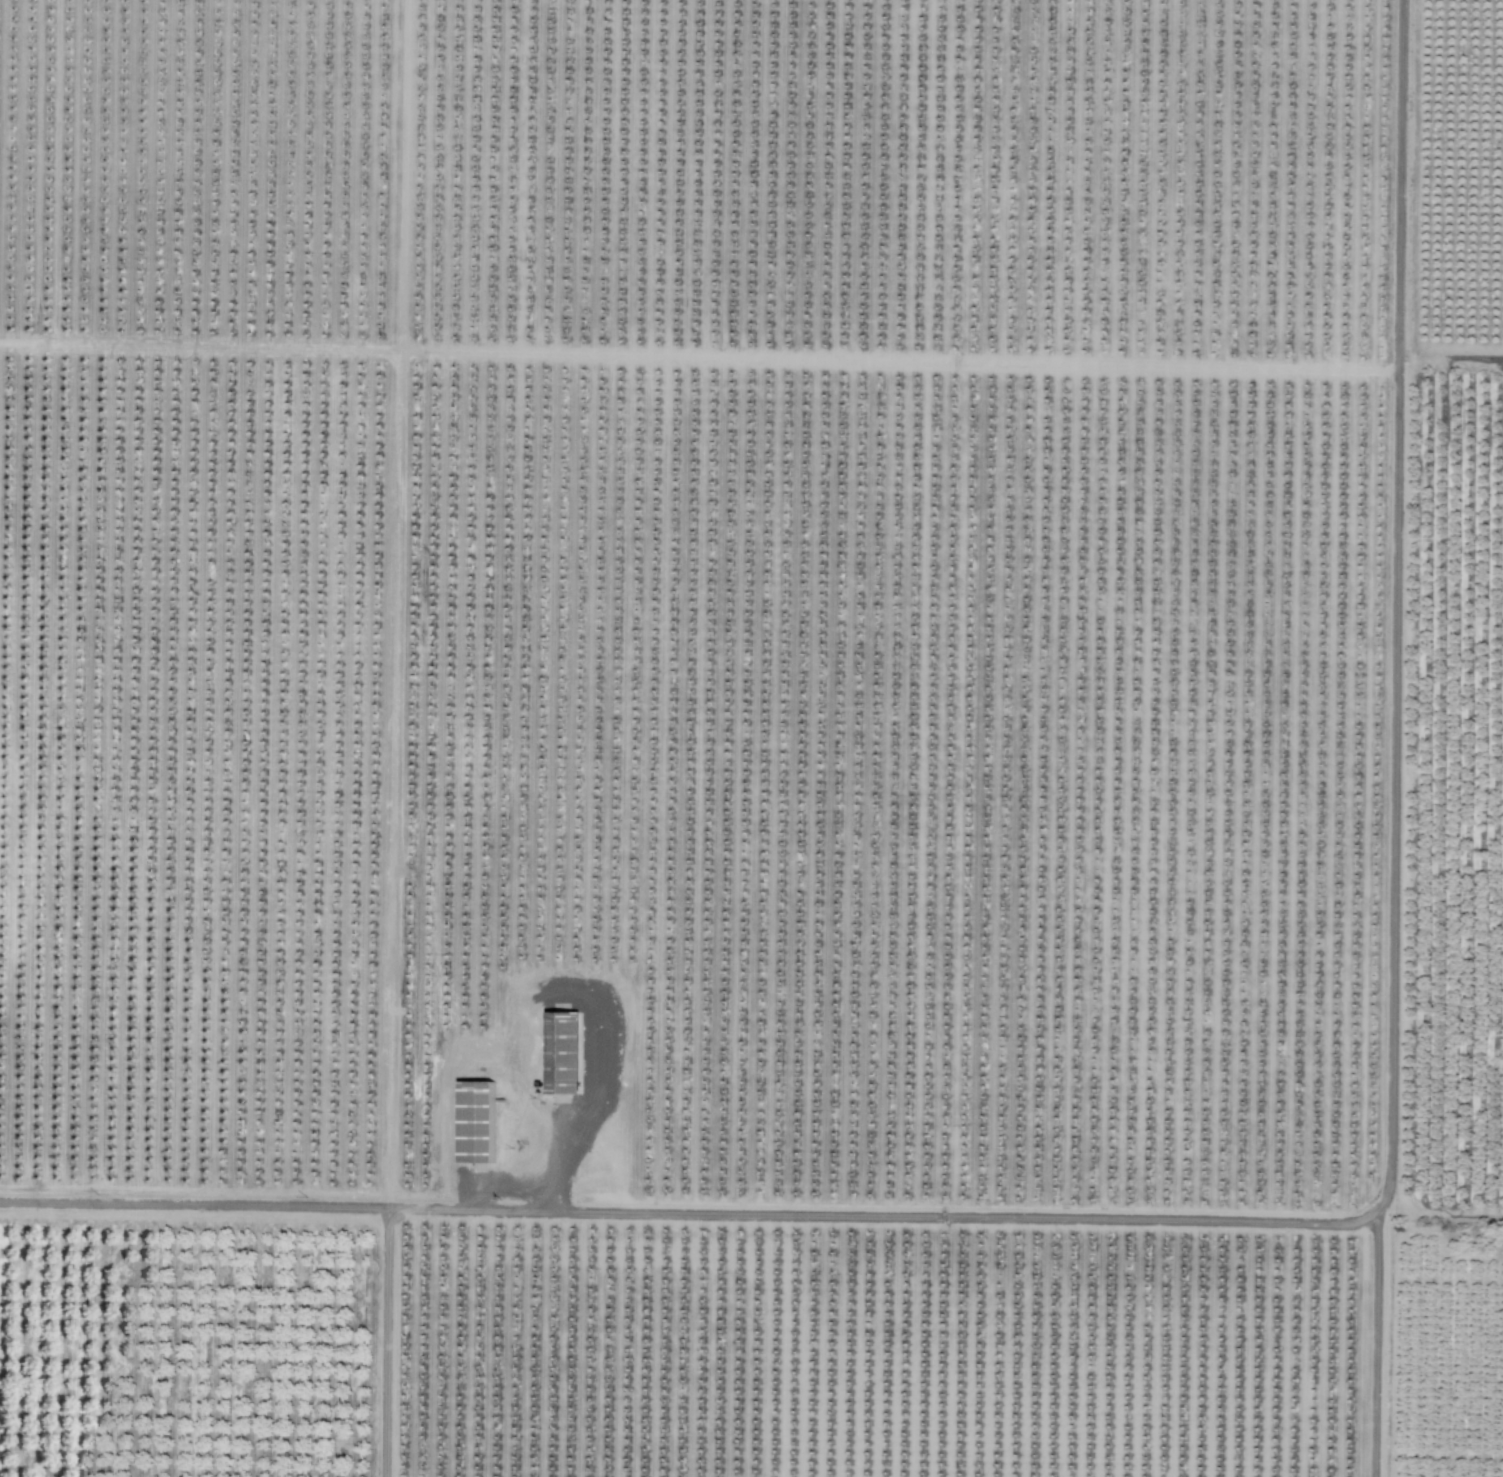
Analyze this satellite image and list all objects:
building: (562, 1053)
building: (475, 1122)
road: (658, 1211)

